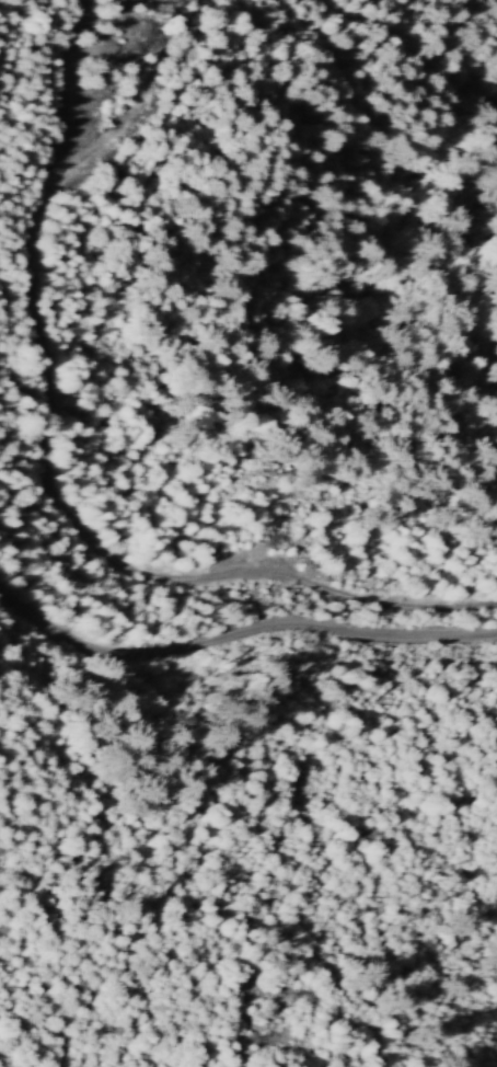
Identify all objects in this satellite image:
road: (73, 463)
road: (189, 643)

